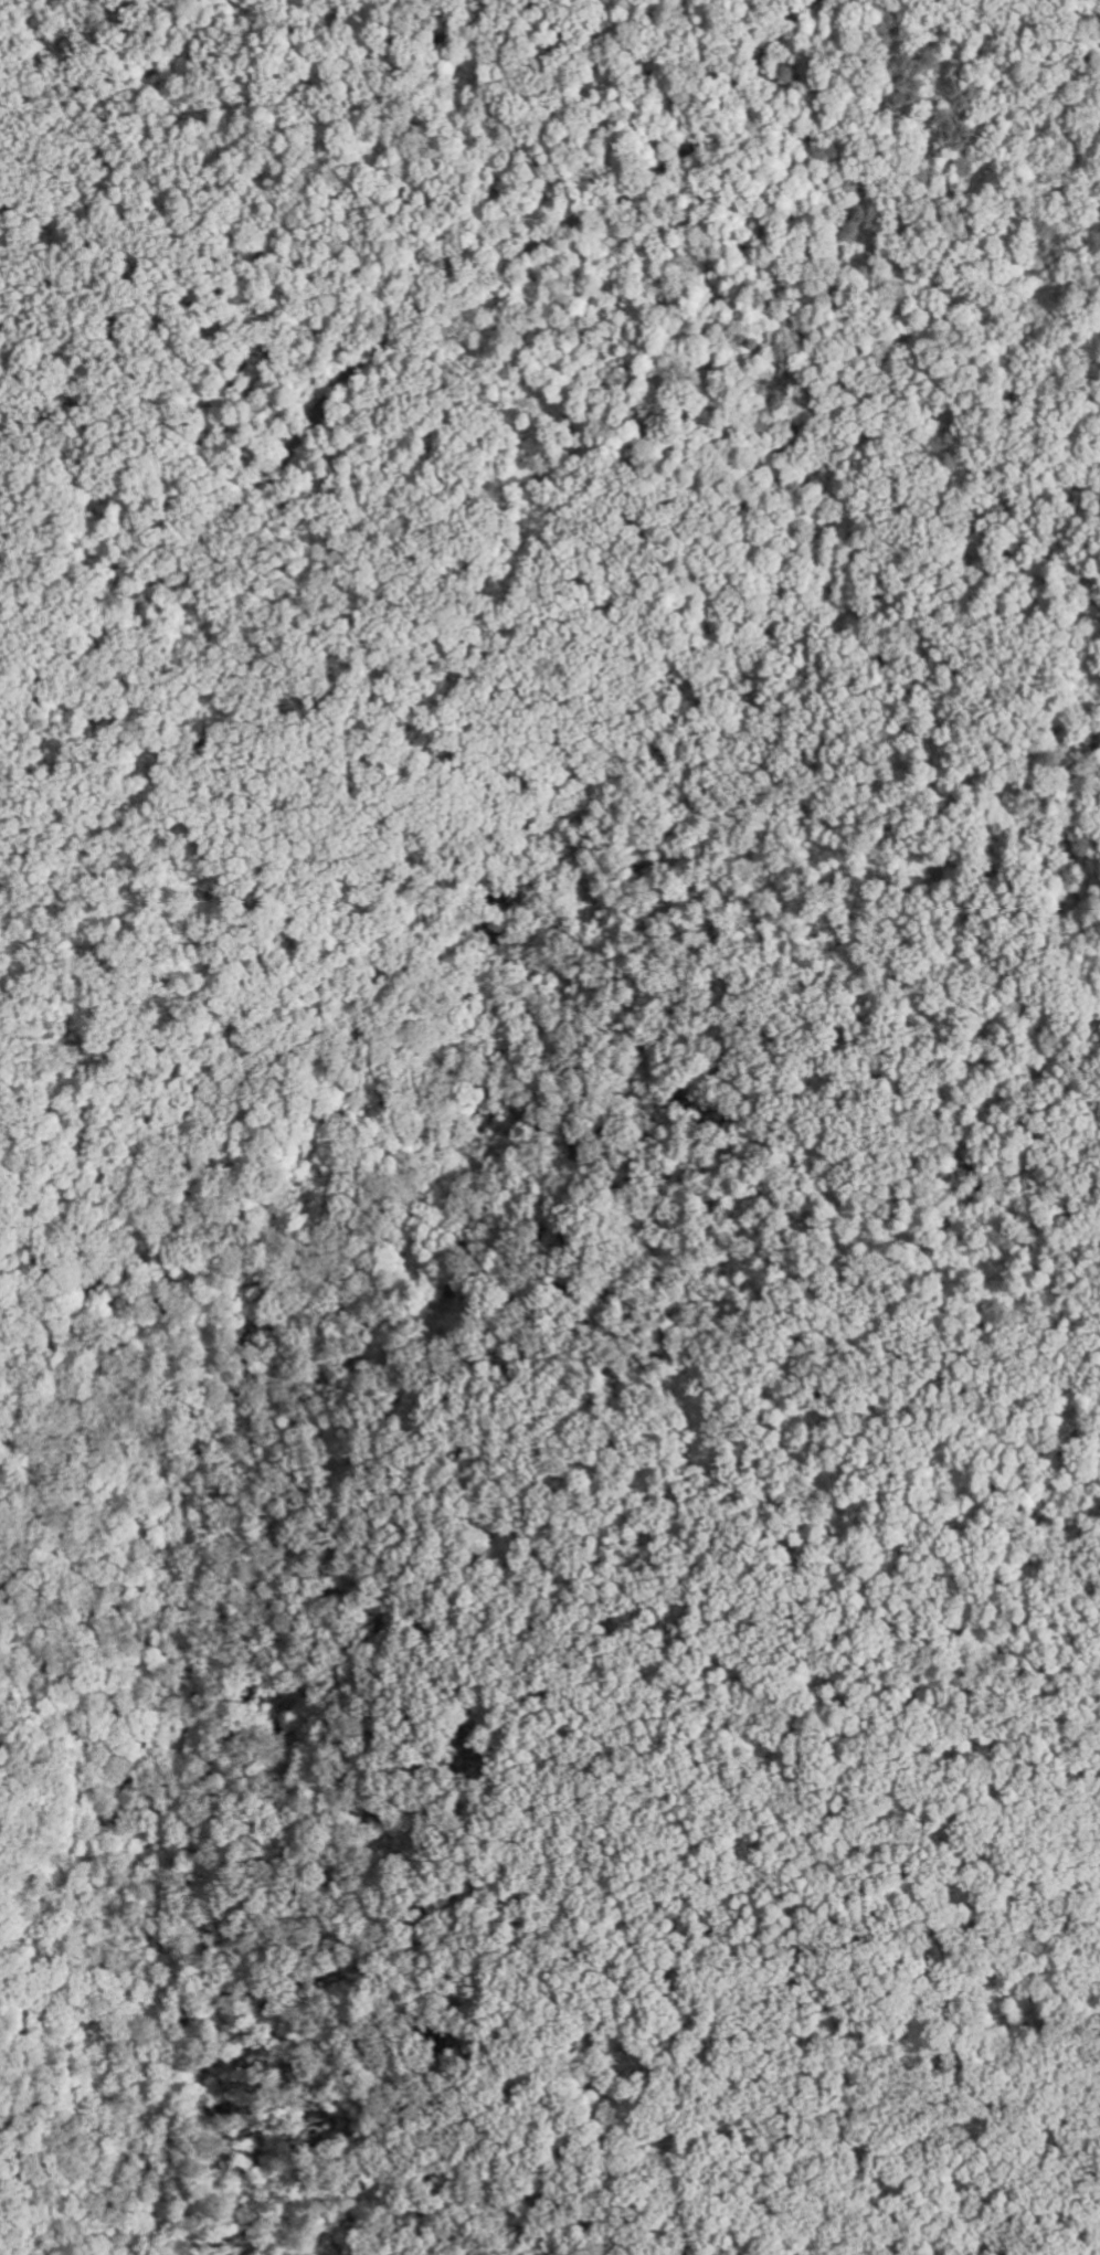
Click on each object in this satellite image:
road: (391, 338)
road: (998, 2015)

